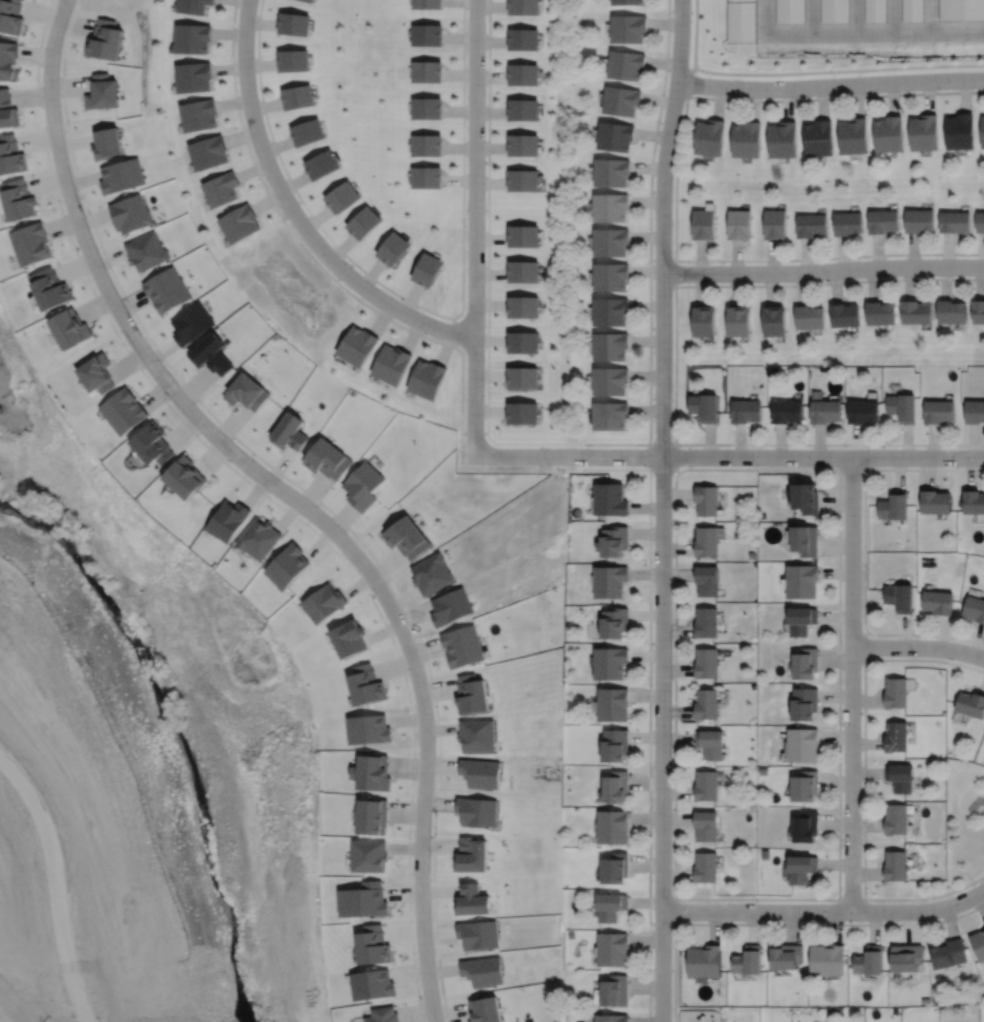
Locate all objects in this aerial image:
building: (308, 1)
building: (626, 2)
building: (428, 4)
building: (194, 6)
building: (524, 7)
building: (961, 10)
building: (835, 11)
building: (876, 11)
building: (912, 11)
building: (790, 12)
road: (929, 16)
building: (743, 22)
building: (294, 24)
building: (628, 29)
road: (695, 31)
road: (957, 32)
road: (830, 34)
building: (428, 35)
building: (192, 38)
building: (524, 39)
building: (105, 40)
building: (7, 58)
building: (293, 61)
building: (626, 65)
building: (427, 72)
building: (523, 74)
building: (194, 76)
road: (830, 85)
building: (101, 92)
road: (965, 93)
road: (929, 95)
road: (893, 96)
building: (297, 97)
road: (858, 98)
road: (822, 99)
road: (719, 100)
building: (621, 101)
road: (754, 102)
road: (789, 102)
building: (7, 109)
building: (427, 109)
building: (524, 110)
building: (199, 115)
building: (982, 131)
building: (307, 132)
building: (925, 132)
building: (960, 132)
building: (889, 134)
building: (615, 136)
building: (854, 136)
building: (710, 138)
building: (819, 139)
building: (747, 140)
building: (783, 141)
building: (523, 145)
building: (427, 146)
building: (208, 152)
building: (11, 155)
building: (322, 165)
building: (611, 172)
building: (427, 178)
building: (522, 180)
park: (842, 180)
road: (675, 184)
building: (221, 189)
building: (342, 197)
building: (17, 198)
building: (610, 207)
building: (130, 213)
road: (295, 213)
building: (883, 221)
building: (919, 221)
building: (955, 222)
building: (980, 222)
building: (240, 223)
building: (364, 223)
building: (848, 223)
building: (739, 224)
building: (775, 224)
building: (704, 225)
building: (811, 225)
road: (475, 227)
building: (522, 235)
building: (610, 242)
building: (30, 243)
building: (393, 249)
building: (146, 251)
road: (948, 252)
road: (913, 253)
road: (983, 253)
road: (878, 254)
road: (843, 255)
road: (805, 258)
road: (701, 259)
road: (736, 259)
road: (773, 259)
building: (427, 270)
road: (823, 270)
building: (523, 271)
road: (675, 274)
building: (610, 277)
road: (980, 279)
road: (872, 280)
road: (909, 280)
road: (945, 280)
road: (835, 281)
road: (831, 283)
road: (801, 285)
road: (770, 286)
road: (735, 287)
building: (49, 288)
road: (701, 288)
building: (166, 290)
building: (522, 306)
building: (610, 312)
building: (952, 312)
building: (978, 312)
building: (880, 313)
building: (916, 313)
building: (844, 315)
building: (808, 317)
building: (774, 321)
building: (704, 322)
building: (738, 322)
building: (191, 323)
building: (69, 328)
building: (522, 342)
building: (358, 346)
building: (610, 346)
building: (210, 354)
building: (391, 364)
building: (96, 373)
building: (522, 377)
building: (427, 379)
building: (610, 381)
building: (246, 392)
building: (704, 407)
building: (902, 408)
building: (123, 410)
building: (746, 411)
building: (826, 411)
building: (863, 411)
building: (522, 412)
building: (787, 412)
building: (939, 412)
building: (974, 412)
building: (610, 415)
road: (710, 442)
road: (856, 442)
road: (571, 443)
road: (740, 443)
road: (820, 443)
road: (907, 443)
building: (152, 444)
road: (781, 444)
road: (932, 444)
road: (973, 444)
road: (662, 445)
road: (750, 445)
road: (568, 456)
road: (822, 457)
building: (327, 459)
building: (184, 477)
road: (287, 493)
building: (805, 498)
building: (610, 499)
building: (706, 500)
building: (973, 501)
building: (935, 502)
building: (894, 505)
road: (662, 510)
building: (227, 519)
building: (407, 537)
building: (258, 538)
building: (805, 541)
building: (614, 542)
building: (706, 542)
building: (287, 565)
building: (610, 581)
building: (706, 581)
building: (802, 581)
building: (899, 597)
building: (937, 602)
building: (324, 603)
building: (974, 608)
building: (801, 620)
building: (615, 623)
building: (707, 623)
building: (349, 638)
building: (462, 646)
road: (918, 647)
building: (610, 662)
building: (706, 663)
building: (806, 663)
road: (851, 683)
building: (365, 684)
building: (895, 693)
building: (611, 704)
building: (706, 704)
building: (804, 704)
building: (970, 704)
building: (368, 729)
building: (895, 736)
building: (709, 743)
building: (802, 744)
building: (615, 745)
building: (371, 772)
building: (899, 777)
building: (706, 785)
building: (616, 786)
building: (805, 787)
building: (372, 816)
building: (895, 819)
park: (964, 825)
building: (705, 826)
building: (805, 826)
building: (613, 827)
building: (471, 854)
building: (368, 855)
building: (896, 866)
building: (706, 867)
building: (802, 868)
building: (615, 869)
road: (53, 887)
road: (926, 898)
building: (363, 900)
building: (611, 906)
road: (824, 911)
building: (978, 944)
building: (373, 945)
building: (612, 949)
building: (949, 953)
building: (786, 957)
building: (905, 957)
building: (747, 960)
building: (827, 960)
building: (869, 960)
building: (704, 962)
building: (372, 984)
building: (613, 991)
building: (484, 1009)
building: (383, 1014)
building: (611, 1018)

